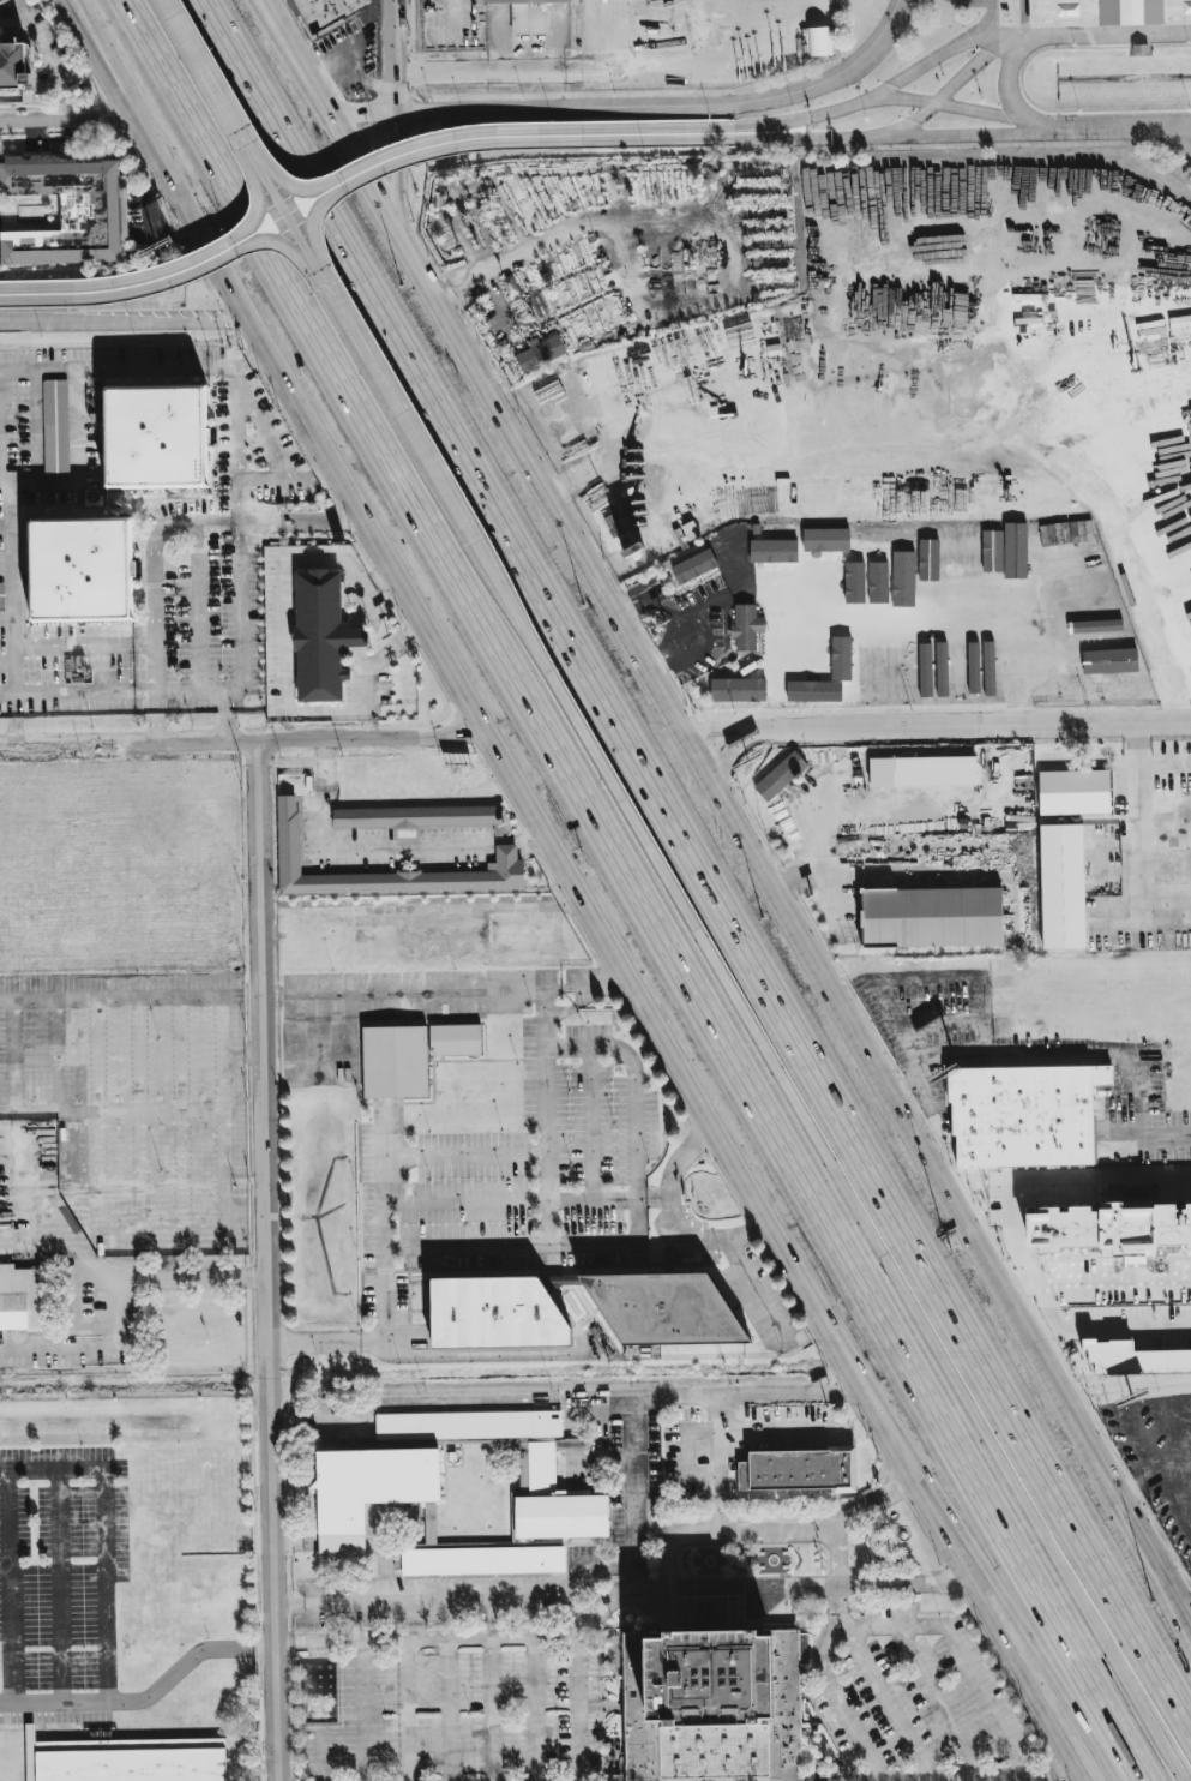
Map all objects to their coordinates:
road: (1022, 10)
road: (1109, 10)
building: (326, 11)
building: (1108, 12)
building: (527, 14)
road: (71, 16)
road: (73, 16)
road: (11, 17)
road: (459, 18)
road: (990, 18)
road: (601, 35)
road: (1120, 35)
road: (1019, 36)
building: (818, 41)
road: (395, 56)
building: (12, 59)
road: (48, 59)
road: (930, 64)
road: (673, 66)
road: (200, 67)
road: (350, 68)
road: (1010, 70)
road: (480, 72)
road: (964, 72)
road: (903, 102)
road: (640, 104)
road: (978, 113)
road: (805, 118)
road: (64, 122)
road: (904, 126)
road: (1048, 126)
road: (1180, 130)
road: (470, 131)
road: (1123, 131)
road: (974, 136)
road: (802, 138)
road: (1180, 140)
road: (486, 143)
road: (397, 172)
road: (278, 203)
building: (68, 209)
road: (175, 266)
road: (166, 281)
road: (121, 319)
building: (540, 352)
road: (259, 424)
building: (54, 427)
building: (154, 437)
road: (237, 439)
road: (422, 451)
road: (326, 474)
road: (266, 478)
road: (303, 478)
road: (73, 491)
road: (242, 500)
road: (178, 522)
building: (825, 540)
building: (876, 540)
building: (907, 545)
building: (931, 548)
building: (1015, 550)
building: (772, 551)
building: (693, 566)
road: (7, 569)
building: (80, 569)
building: (1, 596)
building: (876, 600)
road: (630, 602)
road: (198, 606)
road: (658, 608)
road: (696, 608)
road: (7, 618)
building: (746, 628)
road: (680, 632)
road: (898, 632)
building: (323, 638)
road: (241, 641)
road: (666, 656)
building: (841, 659)
road: (445, 660)
building: (860, 666)
building: (876, 667)
building: (973, 667)
building: (924, 670)
building: (940, 670)
building: (906, 671)
building: (988, 672)
road: (287, 673)
road: (651, 673)
building: (738, 690)
road: (191, 691)
building: (813, 691)
road: (158, 718)
road: (366, 724)
road: (974, 724)
road: (720, 731)
road: (251, 743)
road: (7, 749)
road: (728, 751)
building: (921, 772)
building: (780, 776)
building: (1073, 792)
road: (874, 806)
road: (1141, 815)
building: (395, 826)
road: (704, 851)
road: (379, 857)
building: (1061, 887)
road: (628, 890)
building: (932, 917)
road: (443, 990)
road: (984, 1001)
road: (570, 1006)
road: (221, 1009)
building: (453, 1041)
road: (1124, 1053)
road: (56, 1055)
road: (10, 1056)
road: (440, 1060)
building: (395, 1062)
road: (633, 1104)
parking lot: (137, 1107)
road: (48, 1111)
road: (542, 1116)
building: (1024, 1117)
road: (179, 1121)
road: (142, 1122)
road: (96, 1123)
road: (591, 1123)
road: (464, 1157)
road: (1041, 1179)
building: (1186, 1188)
building: (1064, 1191)
building: (1156, 1191)
road: (525, 1200)
road: (858, 1206)
road: (385, 1221)
road: (672, 1221)
building: (1119, 1228)
road: (510, 1245)
road: (162, 1246)
road: (267, 1261)
road: (1095, 1284)
road: (115, 1291)
road: (757, 1295)
building: (668, 1300)
building: (23, 1301)
building: (494, 1312)
road: (1100, 1331)
road: (428, 1355)
building: (1133, 1359)
road: (789, 1397)
road: (645, 1399)
road: (489, 1402)
road: (386, 1404)
road: (323, 1421)
road: (720, 1432)
road: (648, 1462)
road: (588, 1464)
road: (716, 1464)
building: (796, 1473)
road: (610, 1474)
road: (1114, 1480)
building: (380, 1498)
road: (1114, 1499)
road: (685, 1535)
road: (968, 1535)
road: (944, 1536)
road: (609, 1552)
road: (836, 1561)
road: (624, 1600)
road: (415, 1605)
road: (595, 1609)
road: (471, 1639)
road: (137, 1643)
road: (958, 1650)
parking lot: (56, 1674)
parking lot: (915, 1691)
parking lot: (432, 1702)
road: (889, 1702)
road: (938, 1702)
road: (84, 1703)
road: (587, 1703)
building: (712, 1708)
road: (844, 1717)
building: (132, 1761)
road: (871, 1779)

